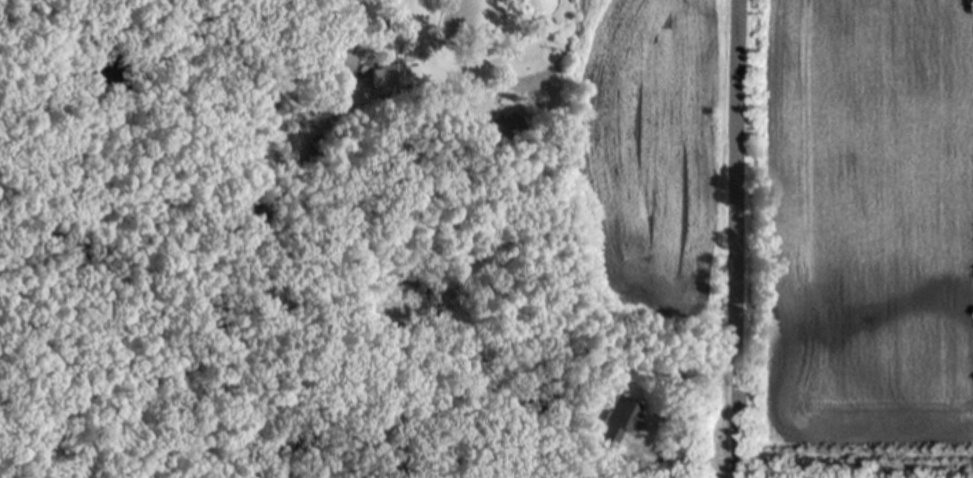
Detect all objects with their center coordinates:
road: (383, 37)
building: (342, 61)
building: (510, 129)
road: (737, 238)
building: (619, 422)

